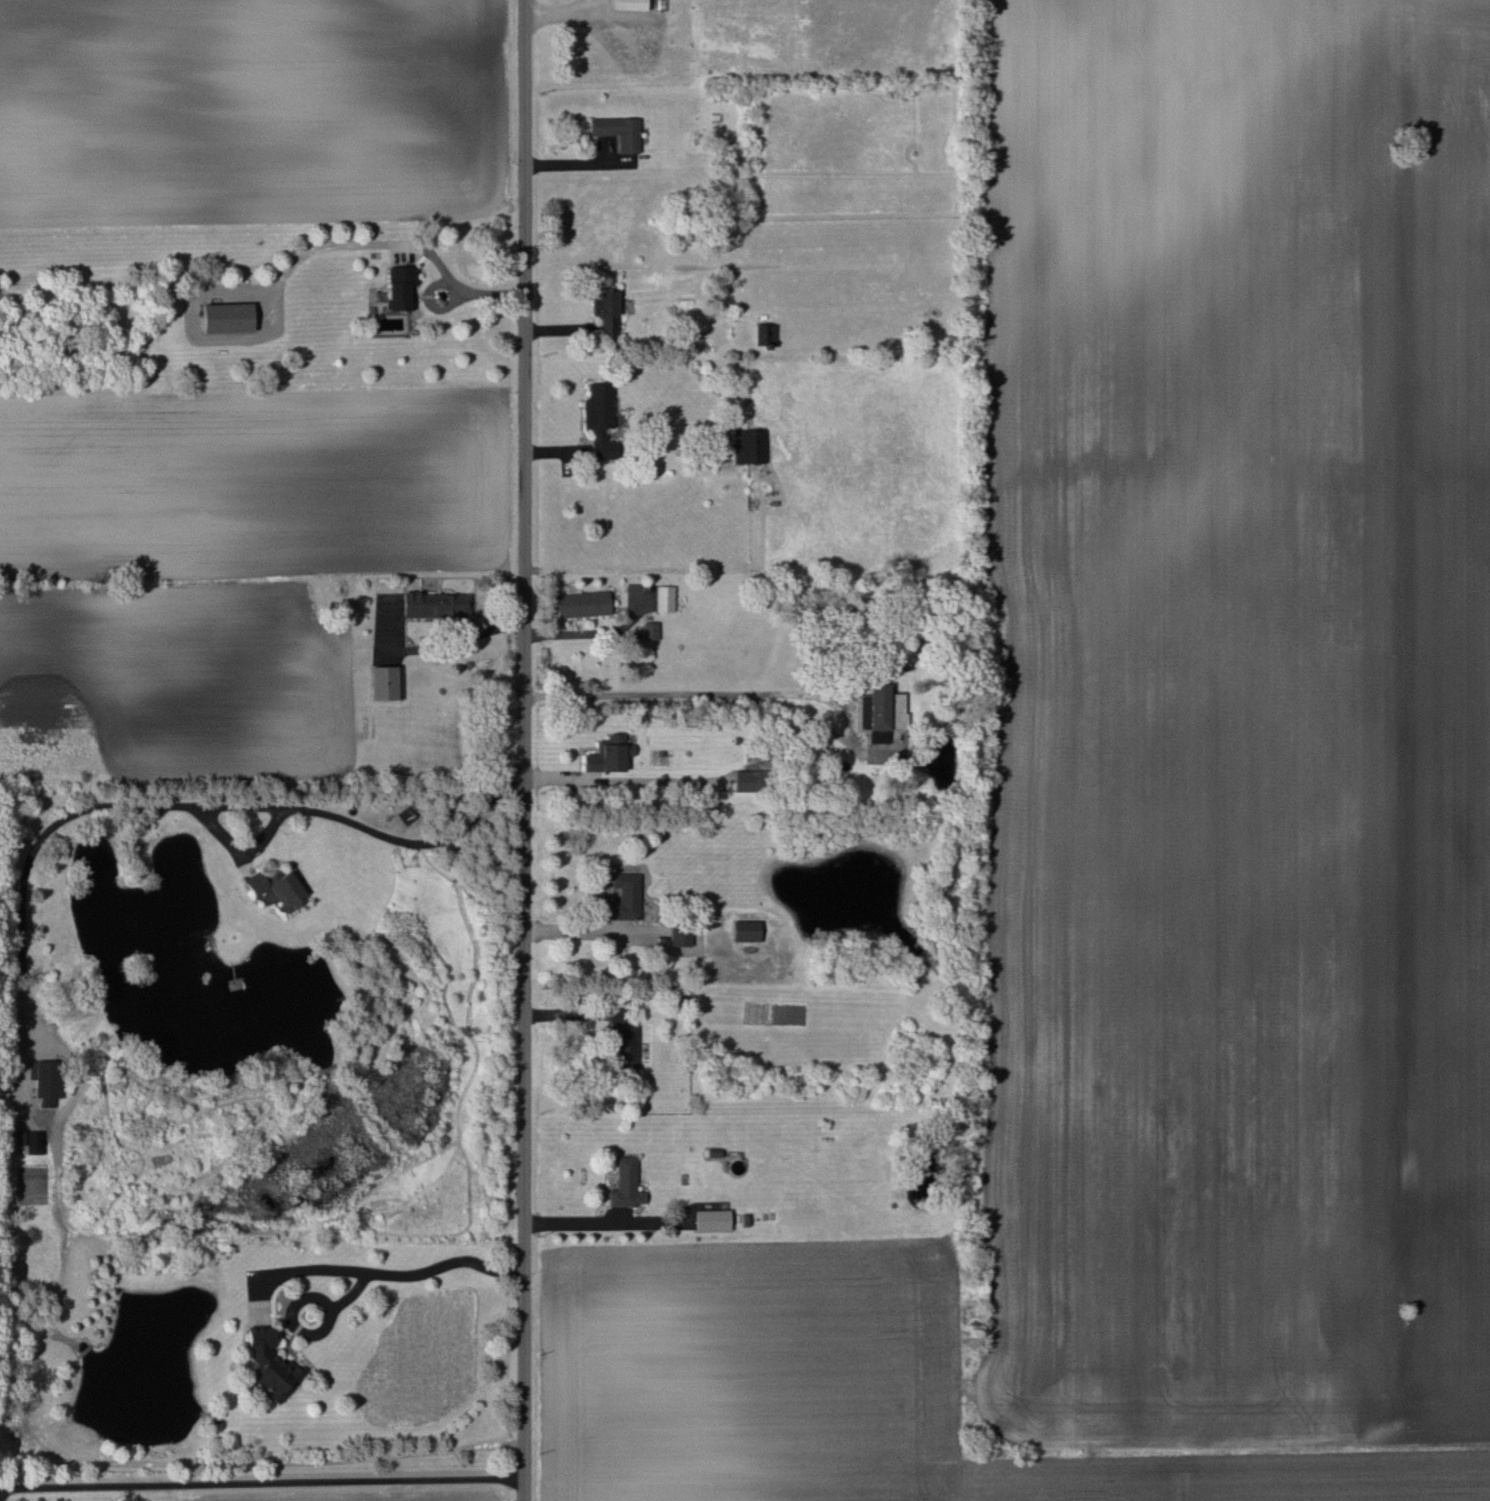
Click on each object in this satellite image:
building: (627, 5)
building: (615, 131)
road: (566, 165)
road: (381, 244)
building: (397, 287)
building: (602, 310)
building: (221, 317)
building: (762, 334)
building: (596, 418)
building: (746, 446)
road: (658, 569)
building: (662, 598)
building: (431, 604)
building: (578, 604)
building: (648, 631)
building: (382, 682)
road: (678, 696)
building: (876, 707)
road: (524, 750)
building: (604, 754)
building: (738, 781)
road: (165, 805)
building: (251, 884)
building: (284, 888)
building: (624, 896)
road: (579, 931)
building: (743, 931)
building: (678, 936)
road: (574, 1014)
building: (622, 1048)
building: (43, 1089)
building: (27, 1141)
building: (624, 1184)
building: (710, 1220)
road: (600, 1223)
road: (414, 1273)
building: (265, 1366)
road: (260, 1482)

